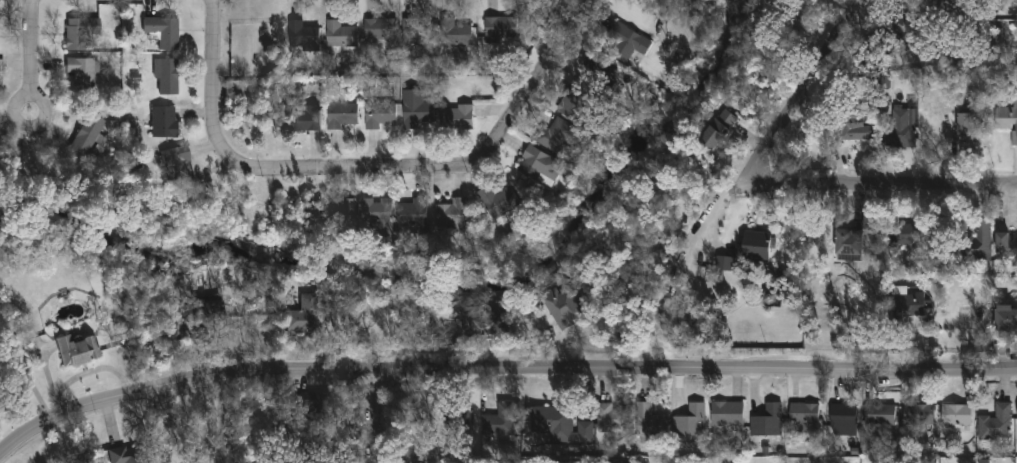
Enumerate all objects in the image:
building: (906, 23)
building: (380, 31)
building: (502, 31)
building: (162, 32)
building: (80, 33)
building: (454, 34)
building: (339, 35)
building: (416, 36)
building: (302, 37)
building: (627, 42)
road: (34, 48)
building: (872, 51)
building: (1, 65)
building: (80, 72)
building: (601, 73)
building: (165, 77)
building: (885, 80)
road: (791, 99)
building: (573, 103)
building: (416, 110)
building: (381, 114)
building: (343, 117)
building: (306, 118)
building: (457, 119)
building: (163, 122)
building: (1007, 124)
building: (970, 126)
building: (903, 130)
building: (716, 131)
building: (863, 132)
building: (86, 135)
building: (555, 137)
building: (175, 163)
building: (539, 168)
road: (369, 173)
road: (874, 194)
building: (497, 202)
building: (411, 214)
building: (450, 214)
building: (338, 220)
building: (376, 220)
building: (919, 238)
building: (848, 244)
building: (976, 244)
building: (753, 247)
building: (1006, 249)
building: (723, 263)
building: (906, 304)
building: (562, 307)
building: (302, 317)
building: (209, 319)
building: (1004, 319)
building: (485, 322)
building: (78, 350)
road: (499, 362)
road: (27, 379)
building: (311, 404)
road: (378, 415)
building: (726, 415)
building: (841, 416)
building: (878, 416)
building: (917, 416)
building: (956, 416)
building: (802, 417)
road: (229, 418)
building: (549, 421)
building: (612, 421)
building: (767, 421)
building: (455, 422)
building: (498, 422)
building: (648, 423)
building: (690, 423)
building: (995, 424)
building: (584, 429)
building: (319, 450)
building: (128, 455)

